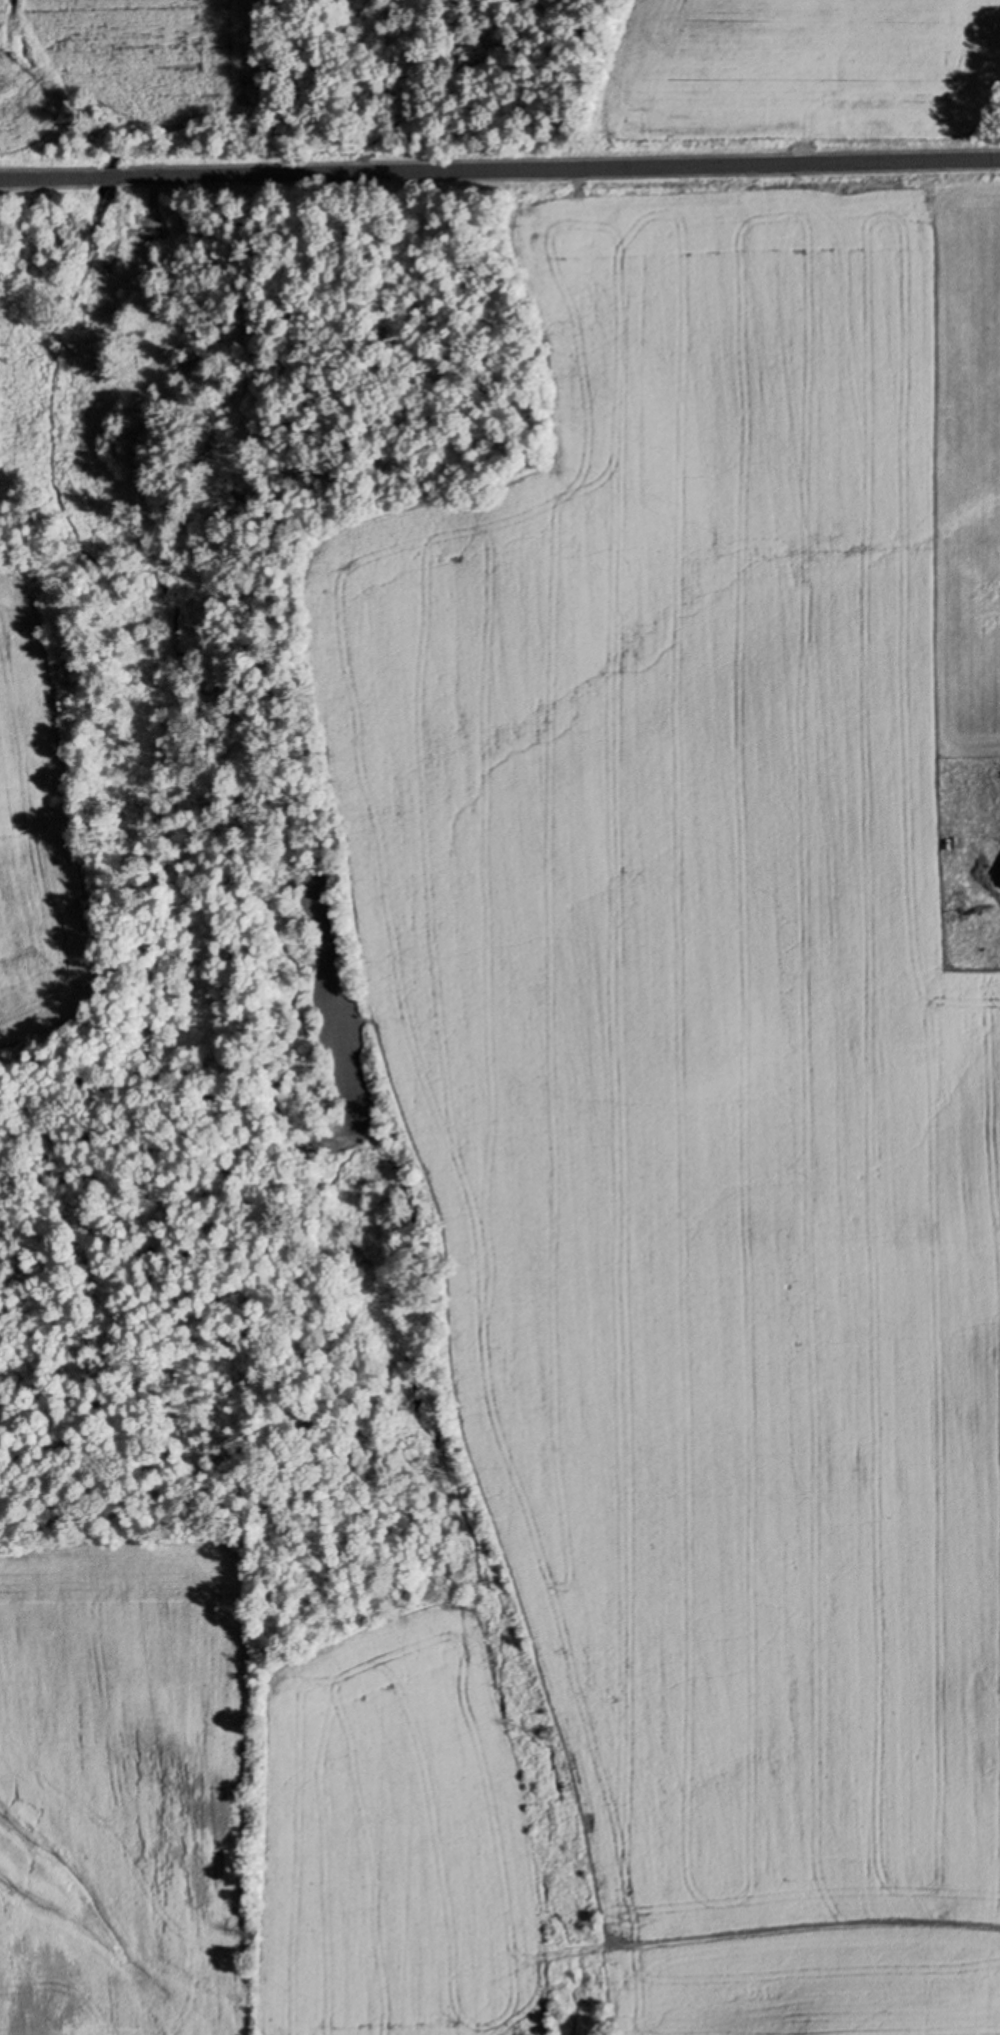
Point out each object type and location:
road: (500, 200)

